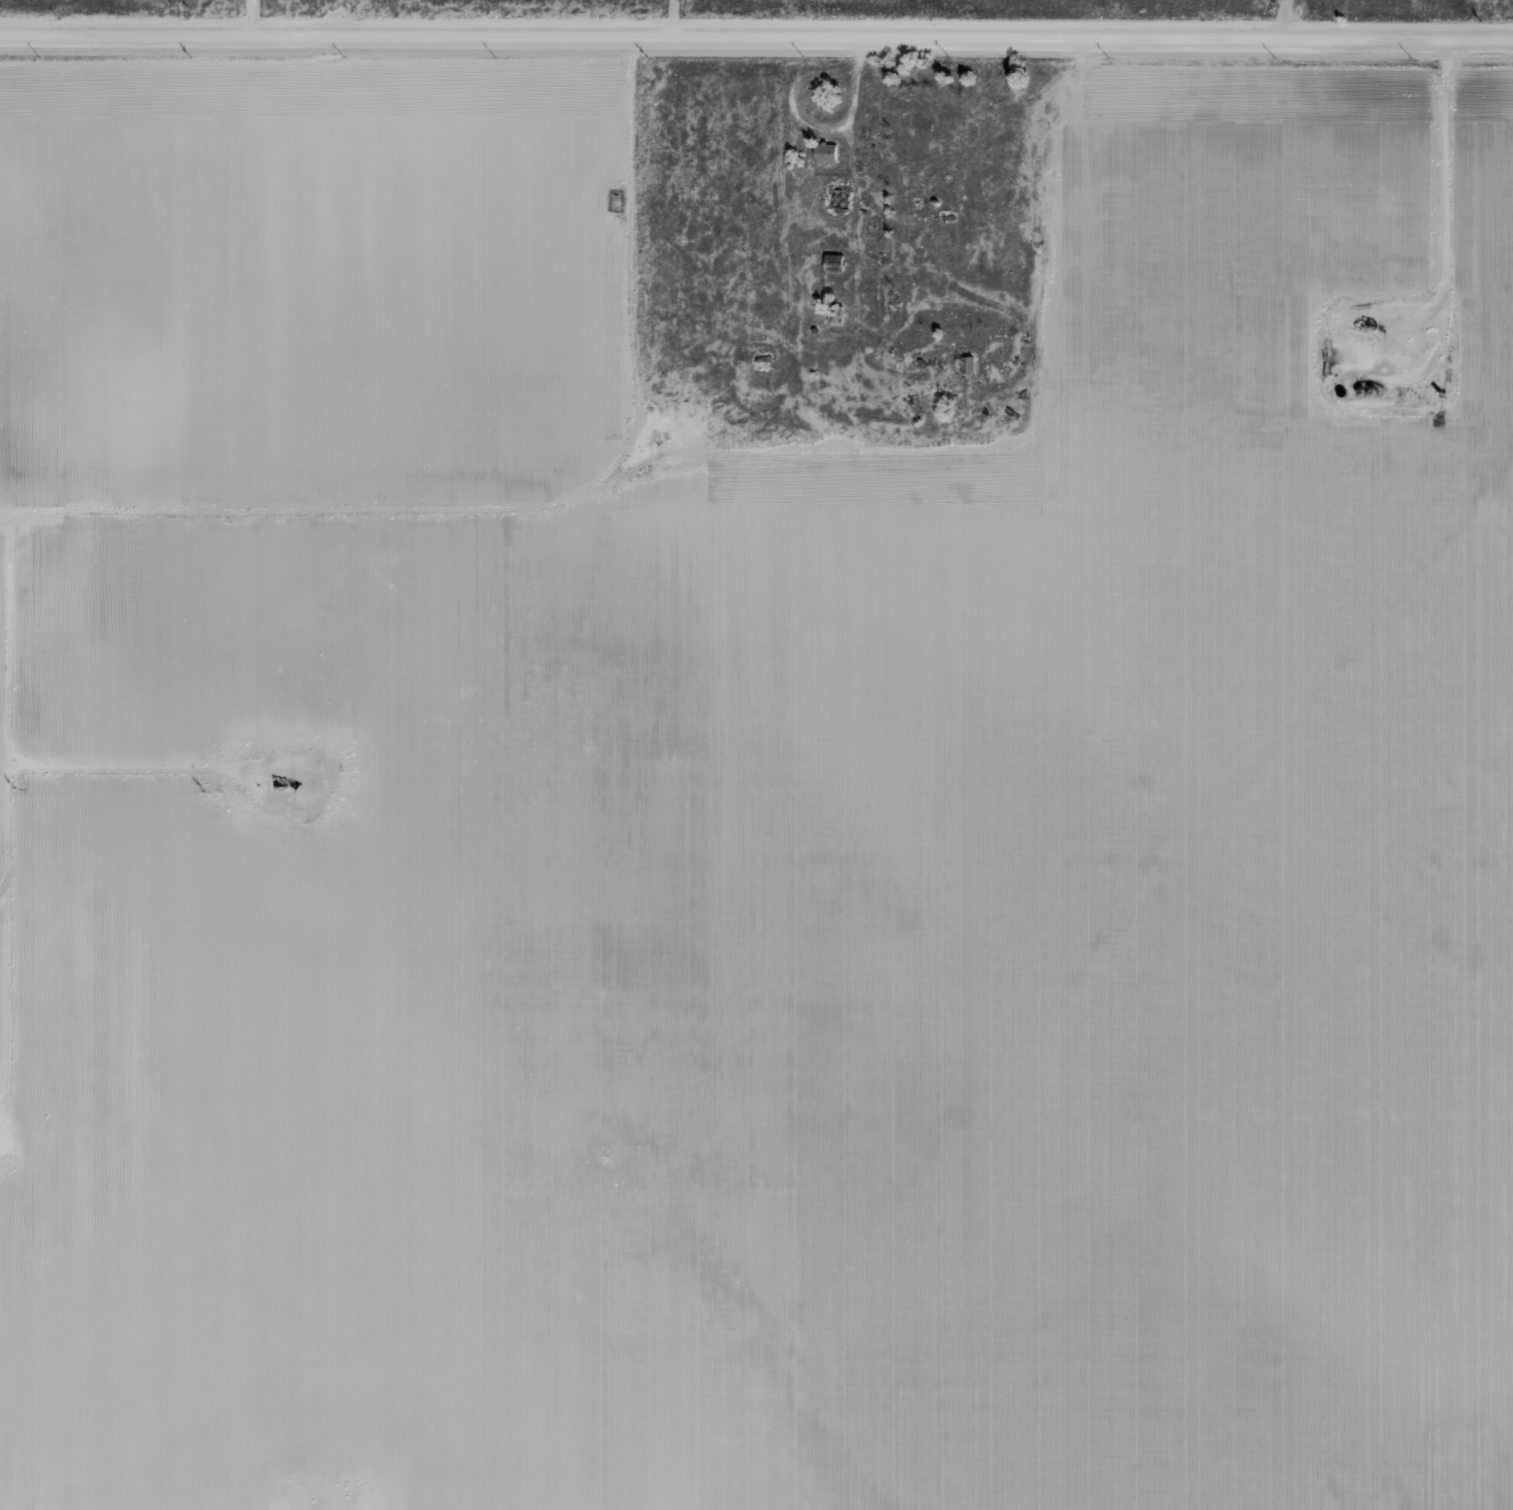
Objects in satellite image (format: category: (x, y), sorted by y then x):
road: (664, 11)
road: (756, 22)
road: (950, 316)
petroleum well: (1368, 323)
road: (304, 473)
petroleum well: (281, 781)

